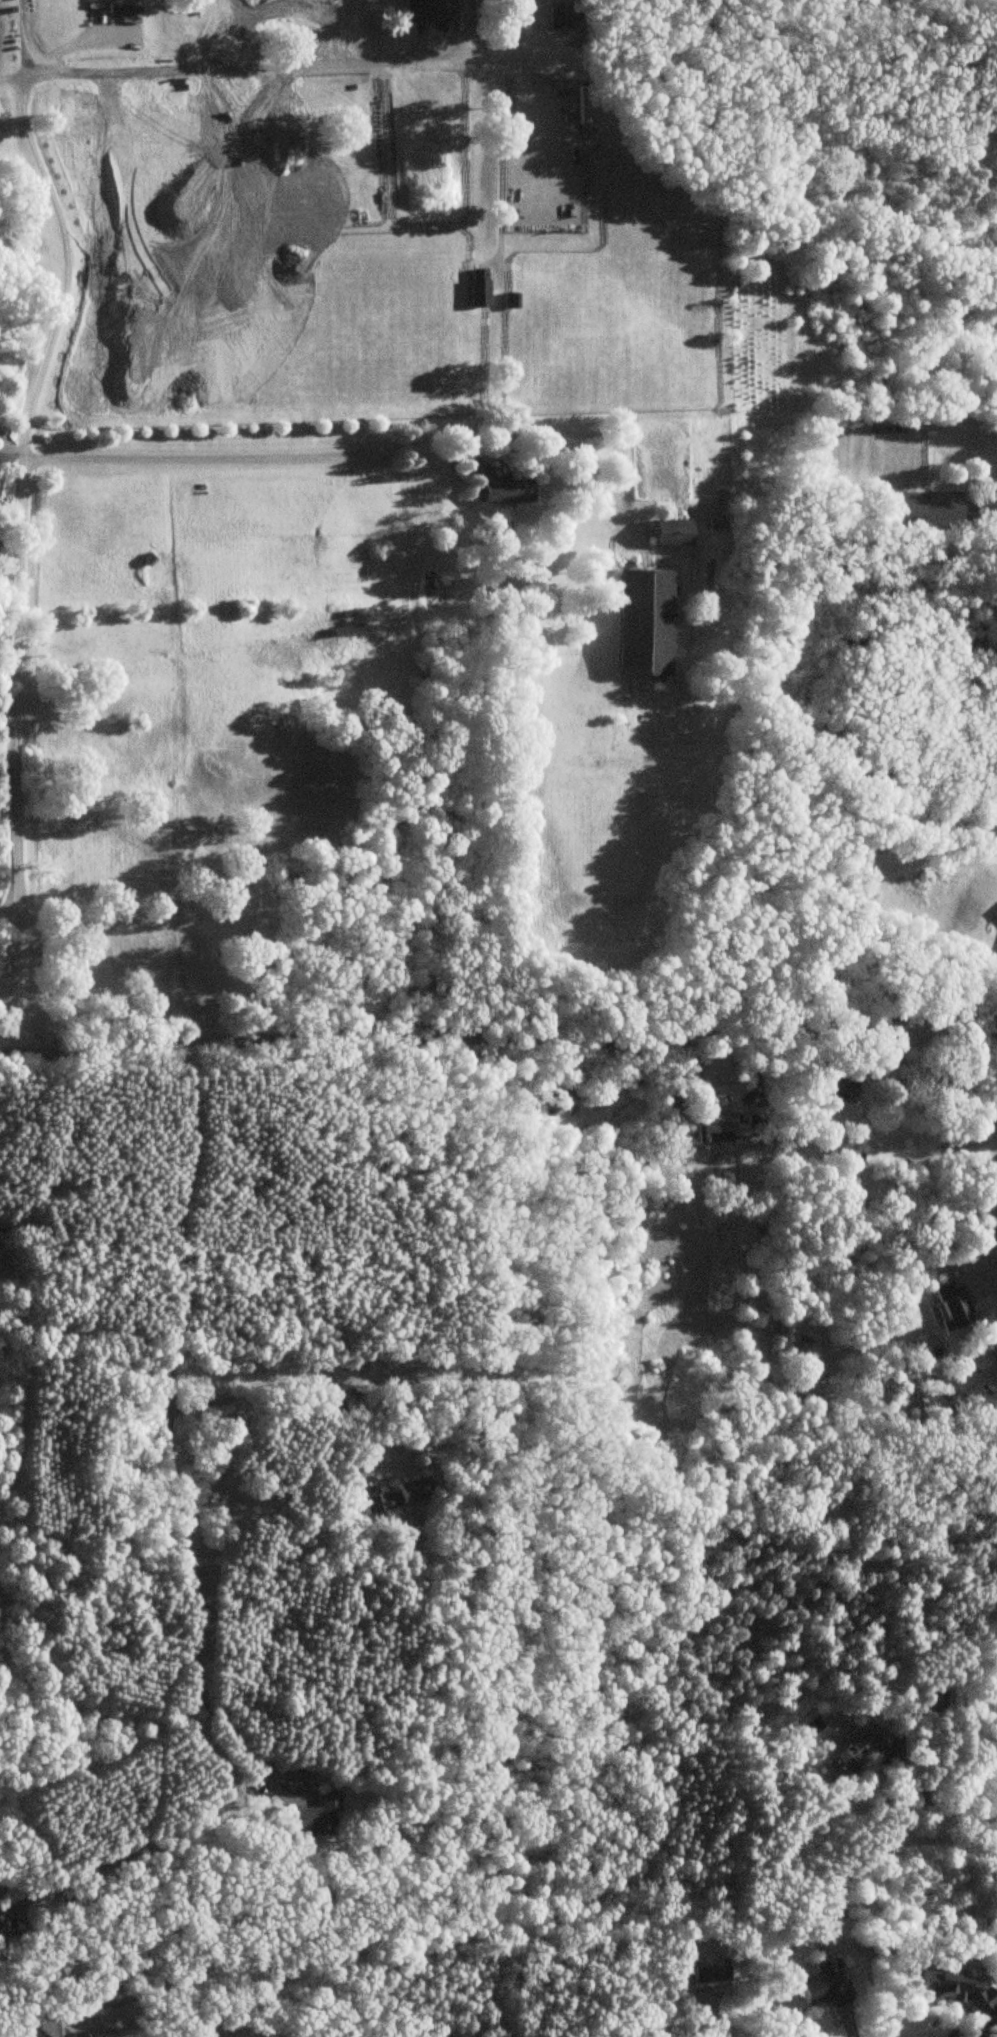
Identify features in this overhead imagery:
building: (429, 11)
building: (562, 16)
road: (449, 23)
road: (281, 60)
road: (8, 72)
road: (487, 163)
road: (50, 226)
building: (478, 292)
building: (510, 300)
road: (7, 443)
road: (347, 448)
road: (7, 453)
building: (496, 484)
building: (926, 506)
building: (671, 532)
building: (534, 576)
building: (643, 623)
building: (345, 630)
road: (1, 752)
road: (498, 1039)
building: (837, 1083)
building: (559, 1097)
road: (710, 1108)
building: (727, 1129)
road: (994, 1155)
building: (950, 1306)
road: (295, 1382)
building: (398, 1496)
road: (183, 1533)
building: (855, 1749)
building: (317, 1817)
road: (945, 1818)
building: (4, 1940)
building: (954, 1988)
road: (83, 2021)
building: (87, 2024)
building: (225, 2031)

